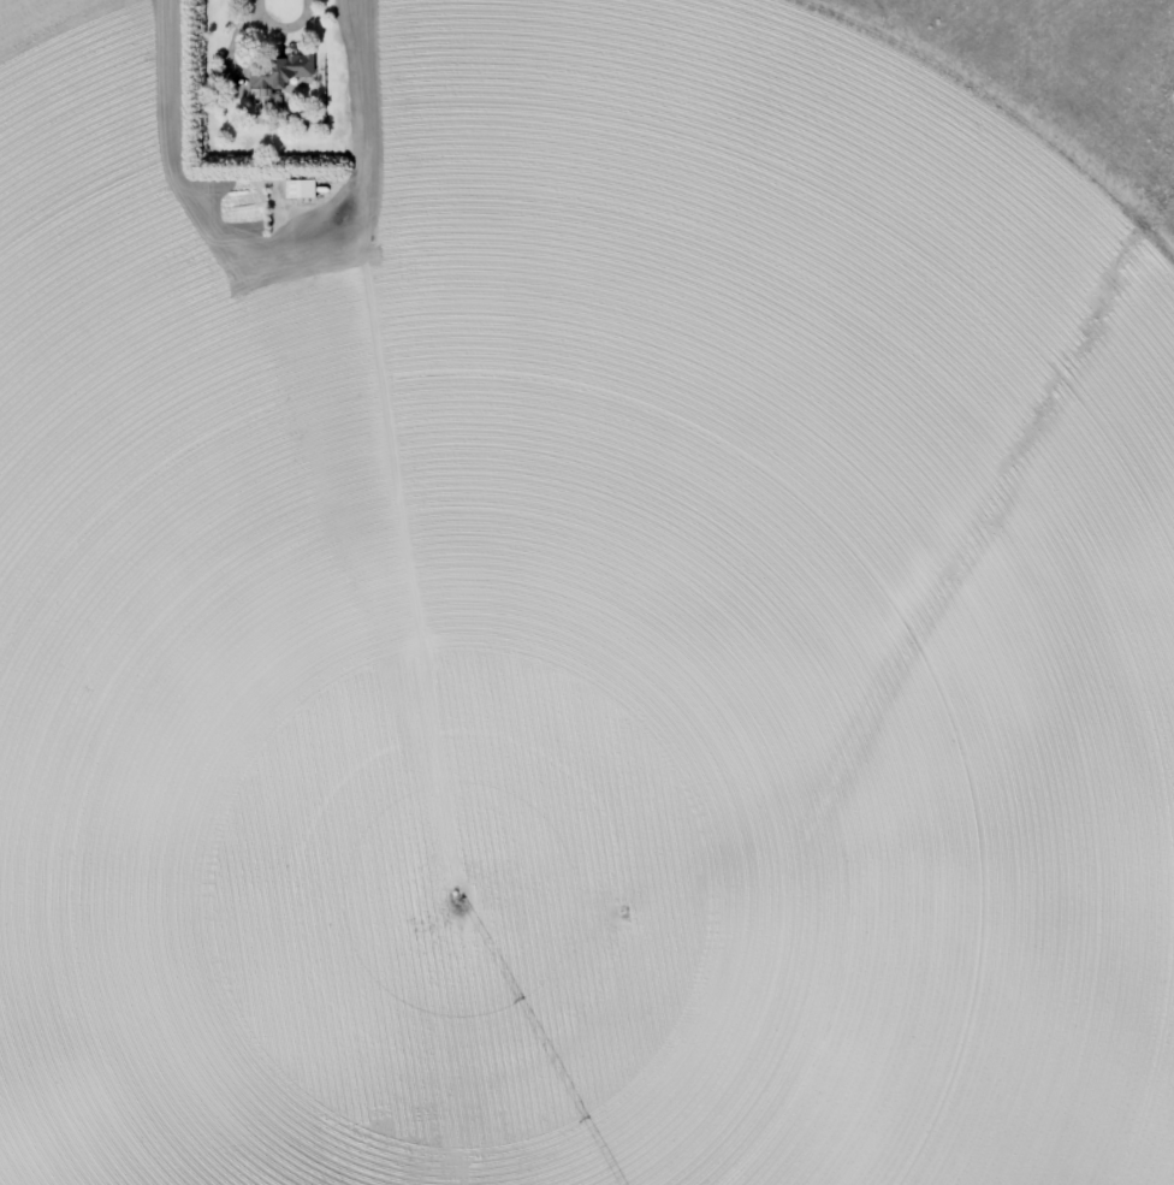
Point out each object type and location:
road: (283, 31)

